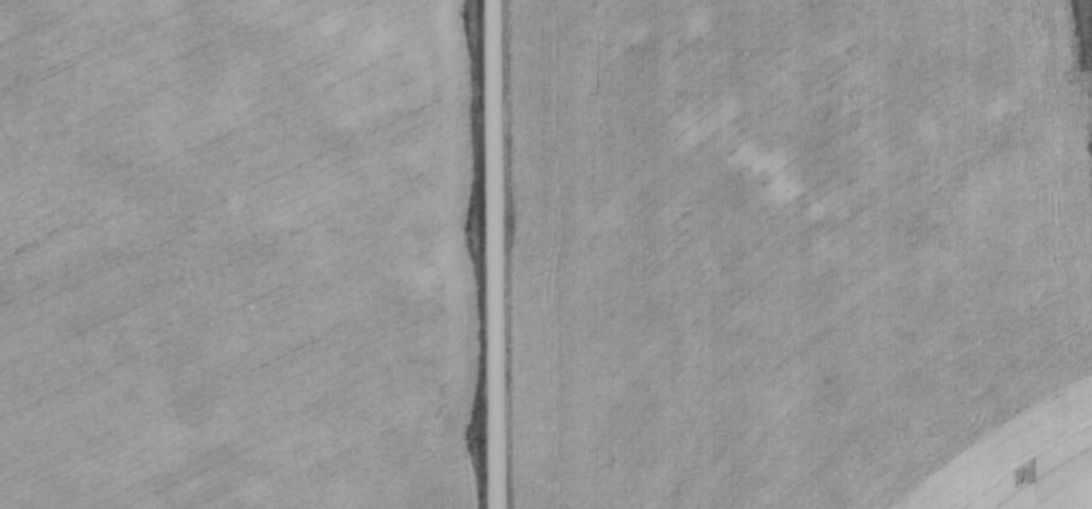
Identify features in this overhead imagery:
crop: (234, 254)
road: (495, 254)
crop: (802, 256)

